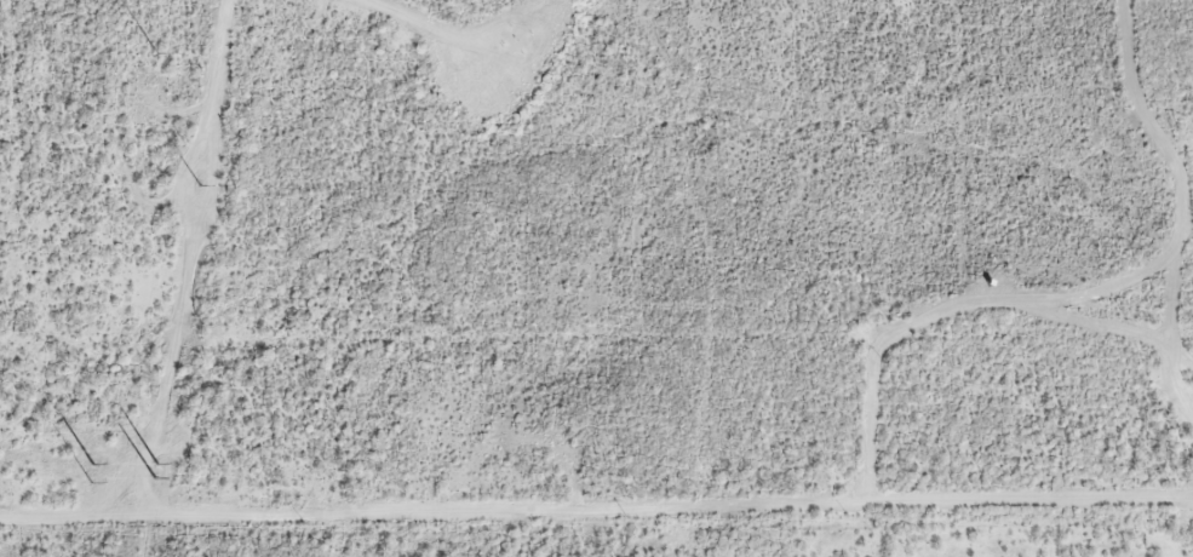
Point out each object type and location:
power tower: (156, 54)
power tower: (200, 184)
power tower: (94, 465)

